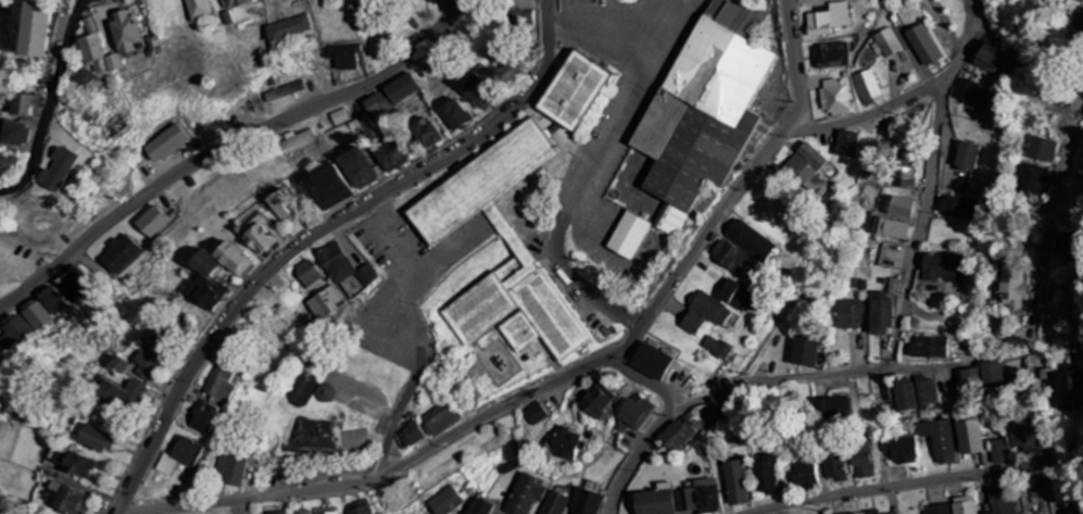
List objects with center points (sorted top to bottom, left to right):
building: (1063, 0)
building: (433, 1)
building: (235, 4)
building: (199, 10)
building: (526, 10)
building: (829, 20)
building: (34, 30)
building: (288, 30)
building: (127, 34)
building: (885, 43)
building: (155, 46)
building: (923, 46)
building: (100, 57)
building: (344, 57)
building: (831, 57)
building: (990, 59)
building: (84, 78)
building: (869, 88)
building: (284, 92)
building: (477, 92)
building: (571, 92)
building: (977, 95)
building: (390, 97)
building: (835, 97)
road: (51, 102)
building: (26, 106)
building: (453, 115)
road: (862, 115)
building: (703, 120)
building: (1, 133)
building: (17, 135)
building: (425, 135)
building: (294, 141)
building: (166, 145)
building: (847, 145)
road: (228, 147)
building: (1044, 150)
building: (389, 158)
building: (967, 158)
building: (10, 165)
building: (807, 168)
building: (354, 170)
building: (59, 171)
building: (905, 173)
building: (1034, 180)
road: (930, 186)
building: (324, 189)
building: (279, 208)
building: (904, 208)
building: (958, 208)
building: (152, 223)
building: (435, 230)
building: (896, 230)
road: (322, 231)
building: (255, 236)
building: (629, 237)
building: (747, 239)
building: (1063, 245)
building: (121, 255)
building: (730, 259)
building: (228, 260)
road: (683, 265)
building: (341, 267)
building: (937, 268)
building: (305, 276)
building: (202, 284)
building: (1013, 284)
building: (73, 286)
building: (739, 296)
building: (52, 301)
building: (324, 304)
road: (1042, 304)
building: (705, 314)
building: (852, 315)
building: (881, 315)
building: (37, 316)
building: (16, 334)
building: (717, 348)
building: (930, 349)
building: (806, 353)
building: (146, 356)
building: (652, 362)
building: (114, 366)
building: (996, 377)
building: (973, 378)
road: (767, 380)
building: (216, 386)
building: (1070, 390)
building: (928, 393)
building: (906, 396)
building: (116, 398)
building: (596, 401)
building: (637, 413)
building: (536, 414)
building: (199, 418)
building: (440, 419)
building: (412, 436)
building: (677, 436)
building: (1025, 437)
building: (971, 438)
building: (90, 440)
building: (941, 441)
building: (564, 446)
building: (903, 452)
building: (1002, 452)
building: (176, 456)
building: (864, 462)
building: (68, 465)
building: (835, 467)
road: (394, 469)
building: (230, 471)
building: (769, 476)
building: (806, 477)
building: (738, 484)
road: (898, 485)
building: (527, 494)
building: (700, 498)
building: (1004, 500)
building: (63, 501)
building: (446, 502)
building: (588, 503)
building: (556, 504)
building: (968, 505)
building: (482, 507)
building: (360, 509)
building: (941, 510)
building: (873, 512)
building: (281, 513)

